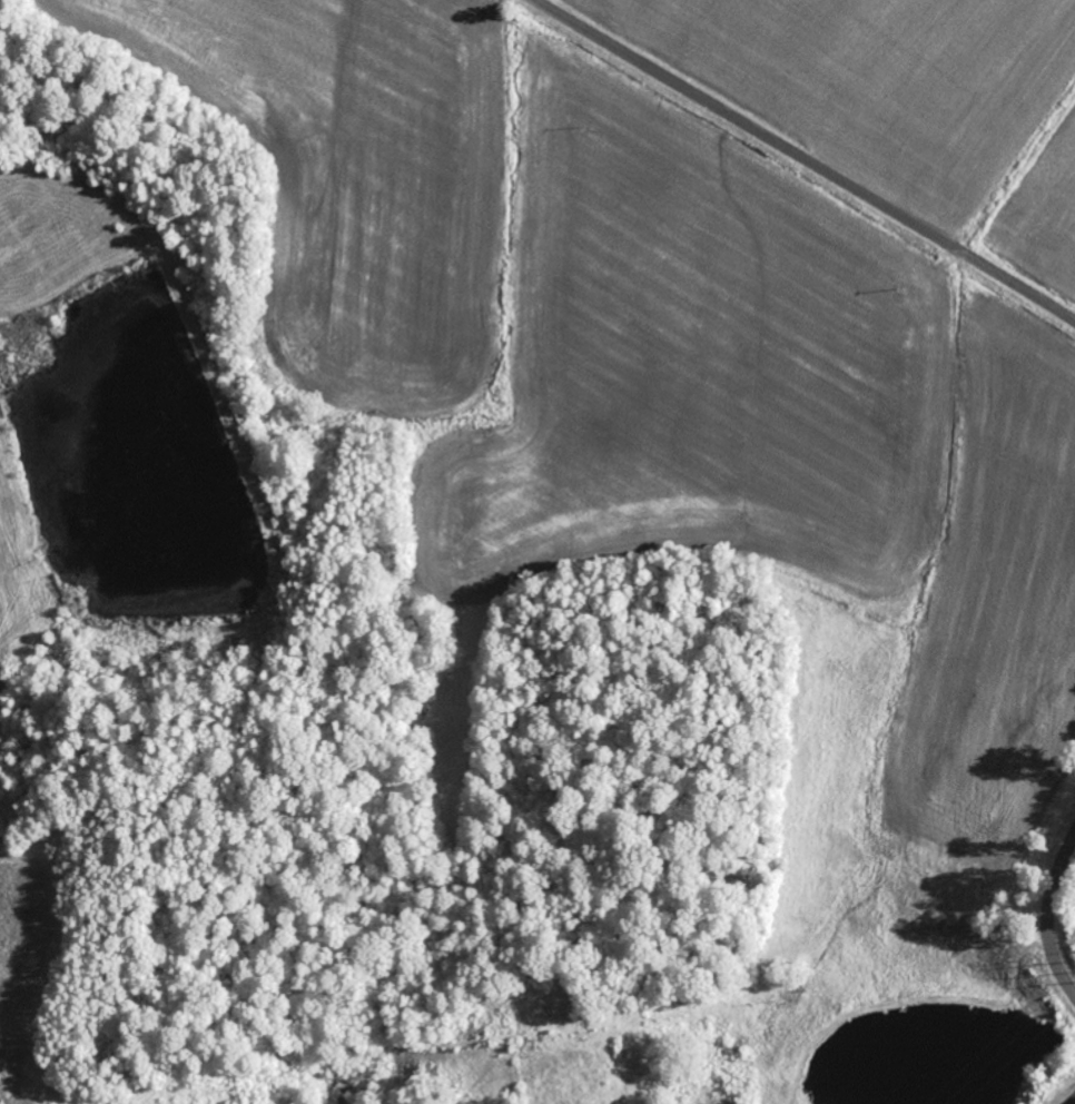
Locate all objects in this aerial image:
road: (803, 160)
road: (1047, 914)
road: (1073, 1103)

